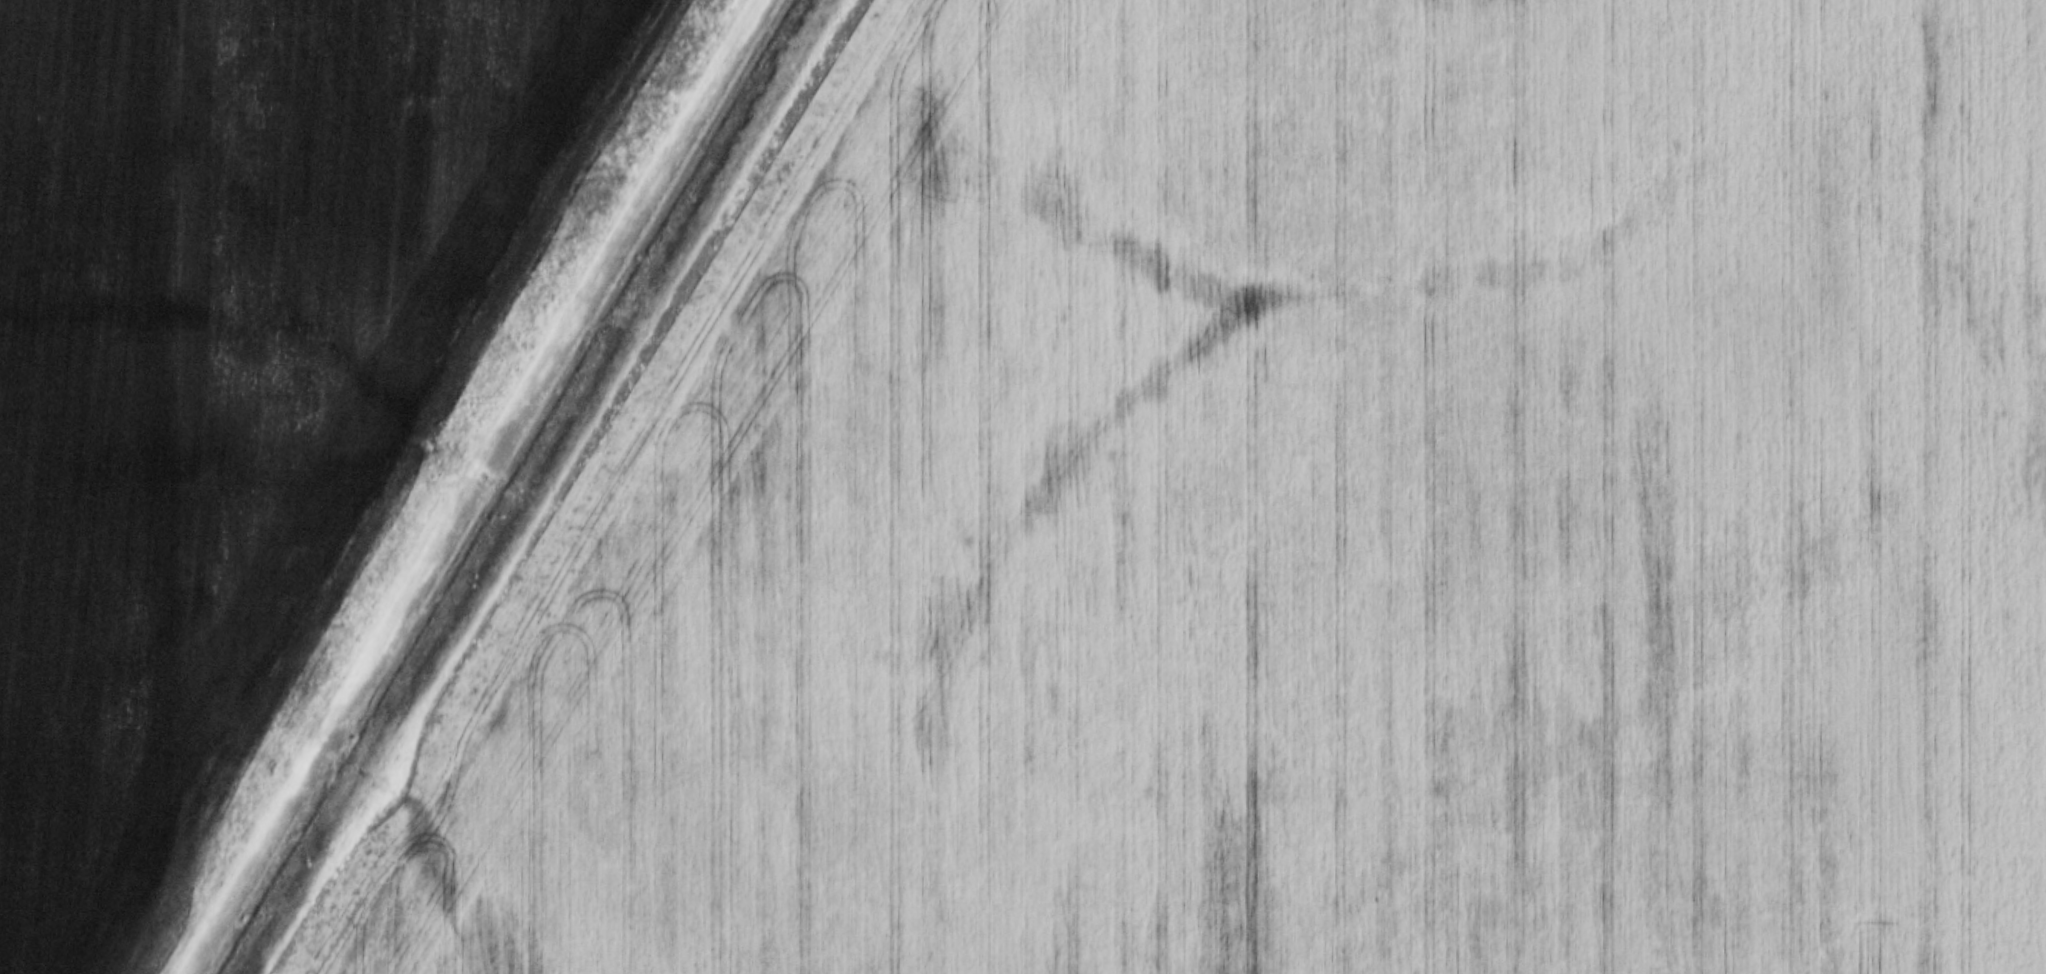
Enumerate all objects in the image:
road: (280, 763)

